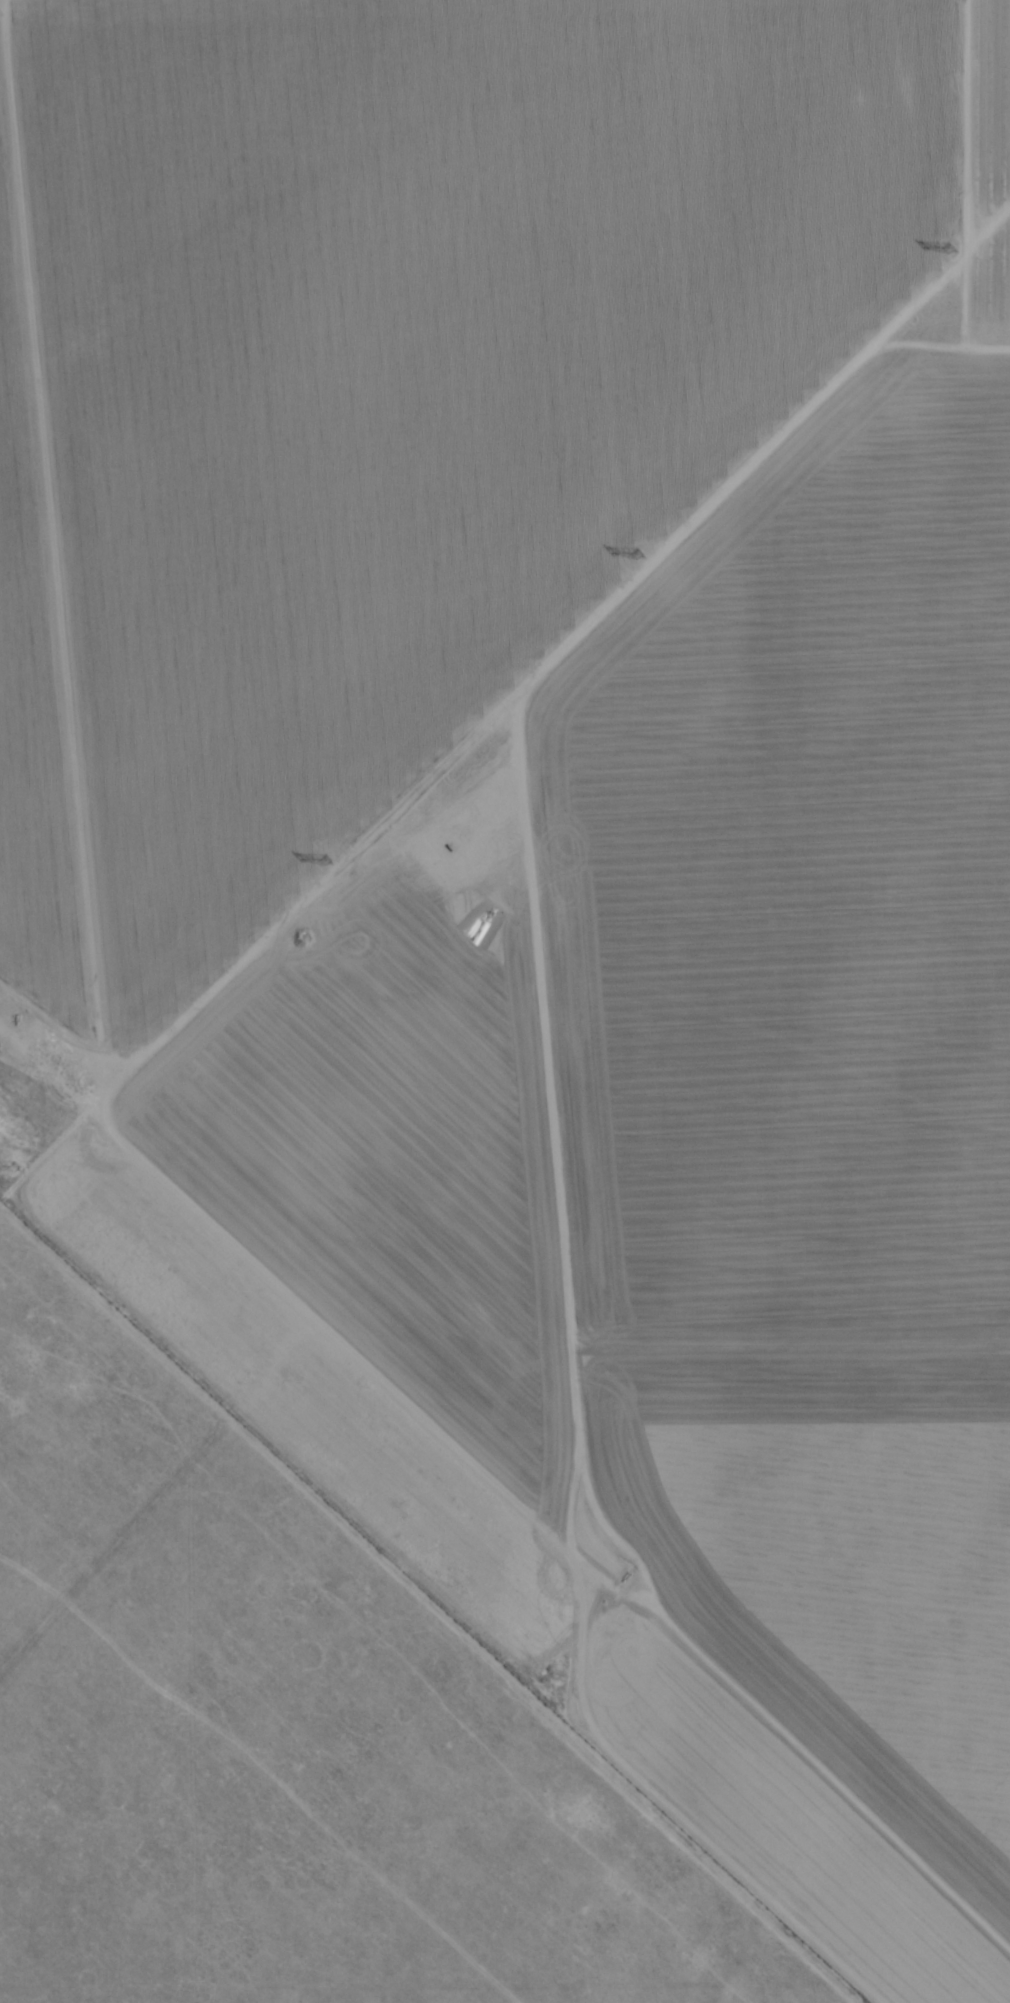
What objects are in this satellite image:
power tower: (948, 246)
crop: (372, 352)
power tower: (638, 553)
power tower: (326, 857)
power tower: (13, 1162)
crop: (830, 1287)

